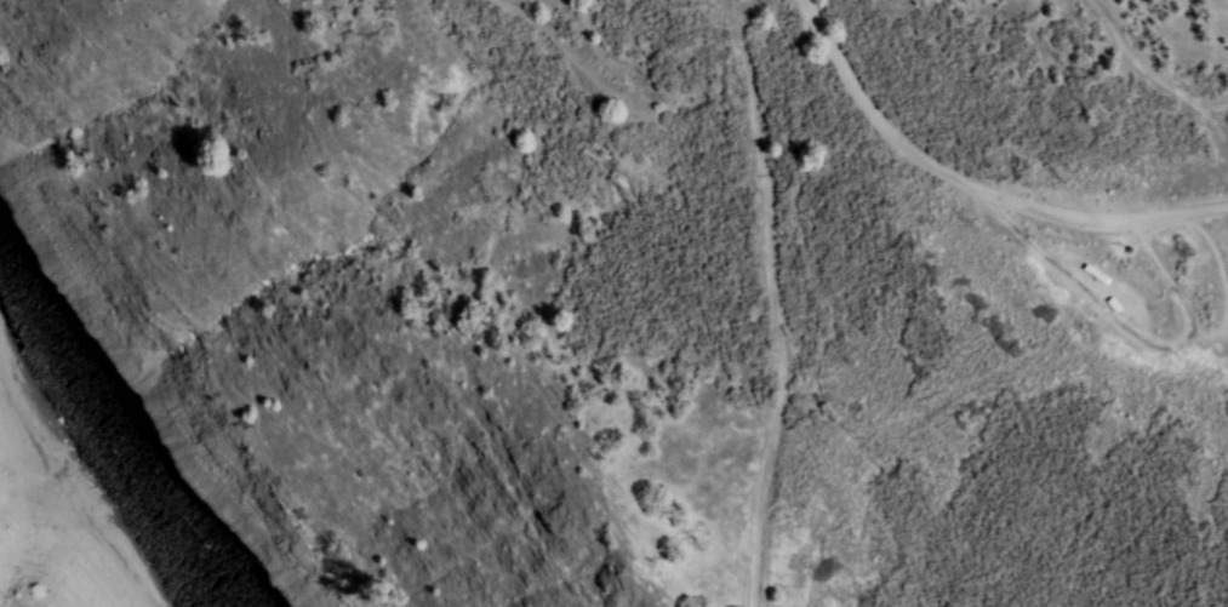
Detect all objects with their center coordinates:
road: (981, 182)
road: (779, 303)

